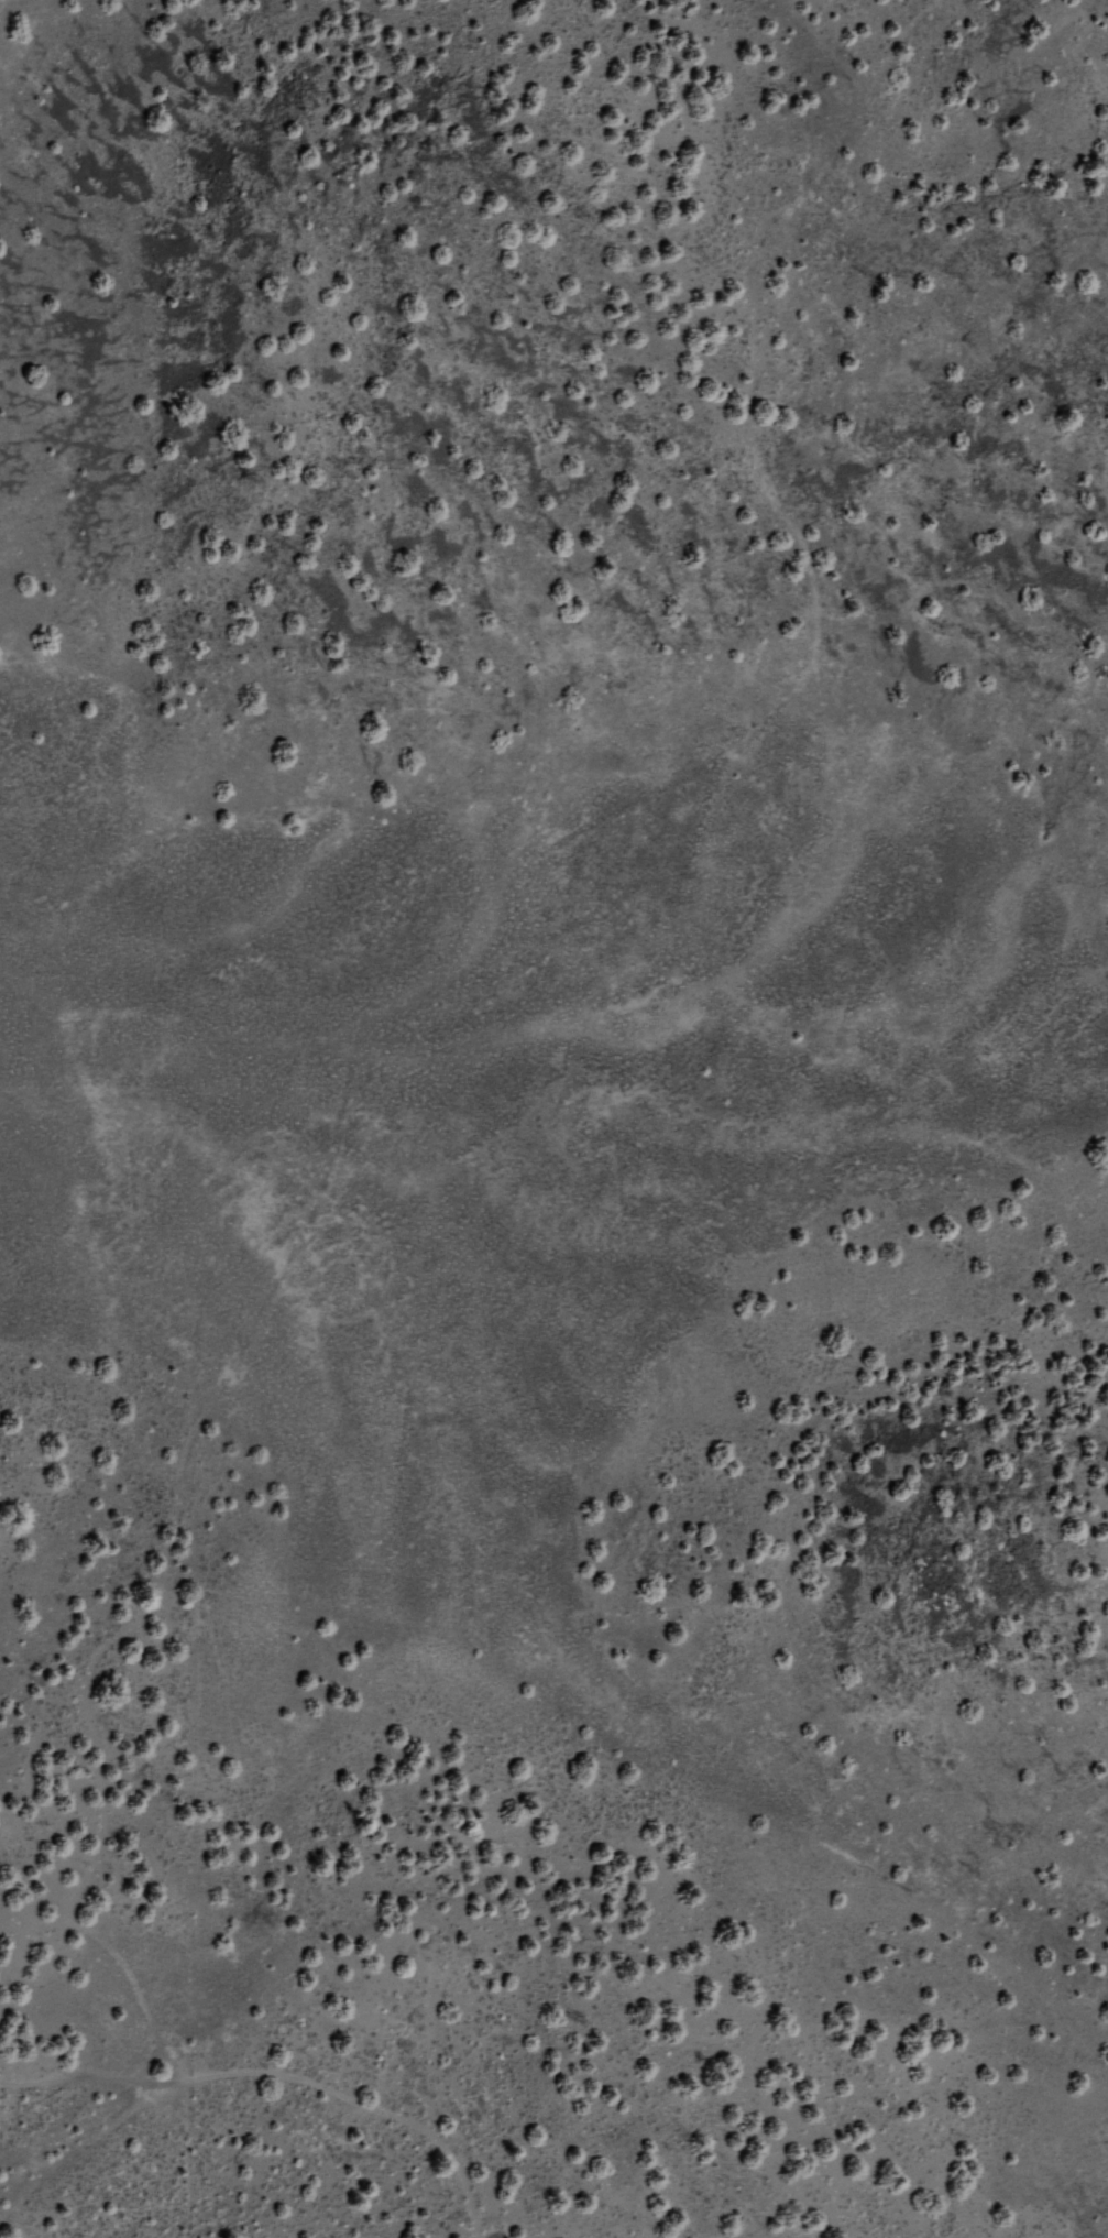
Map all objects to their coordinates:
road: (281, 2070)

